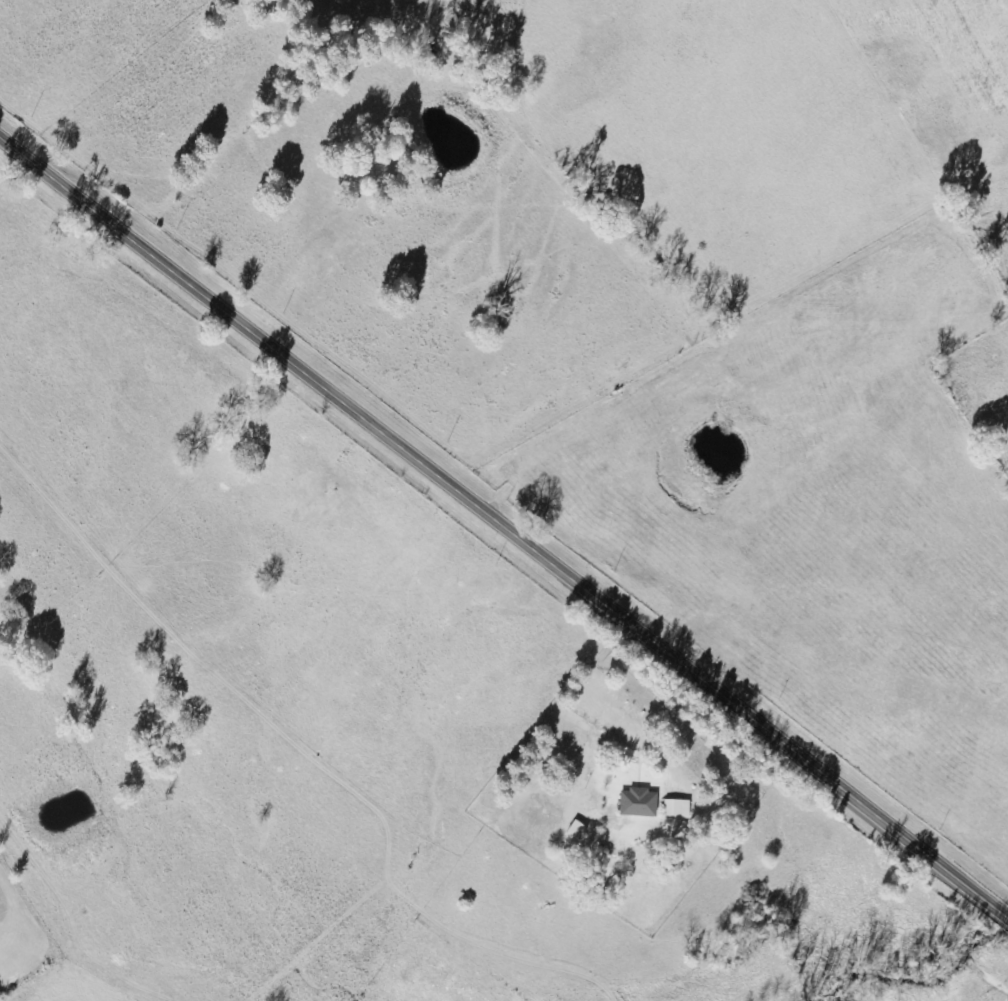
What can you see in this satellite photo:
road: (504, 529)
building: (636, 803)
building: (675, 809)

